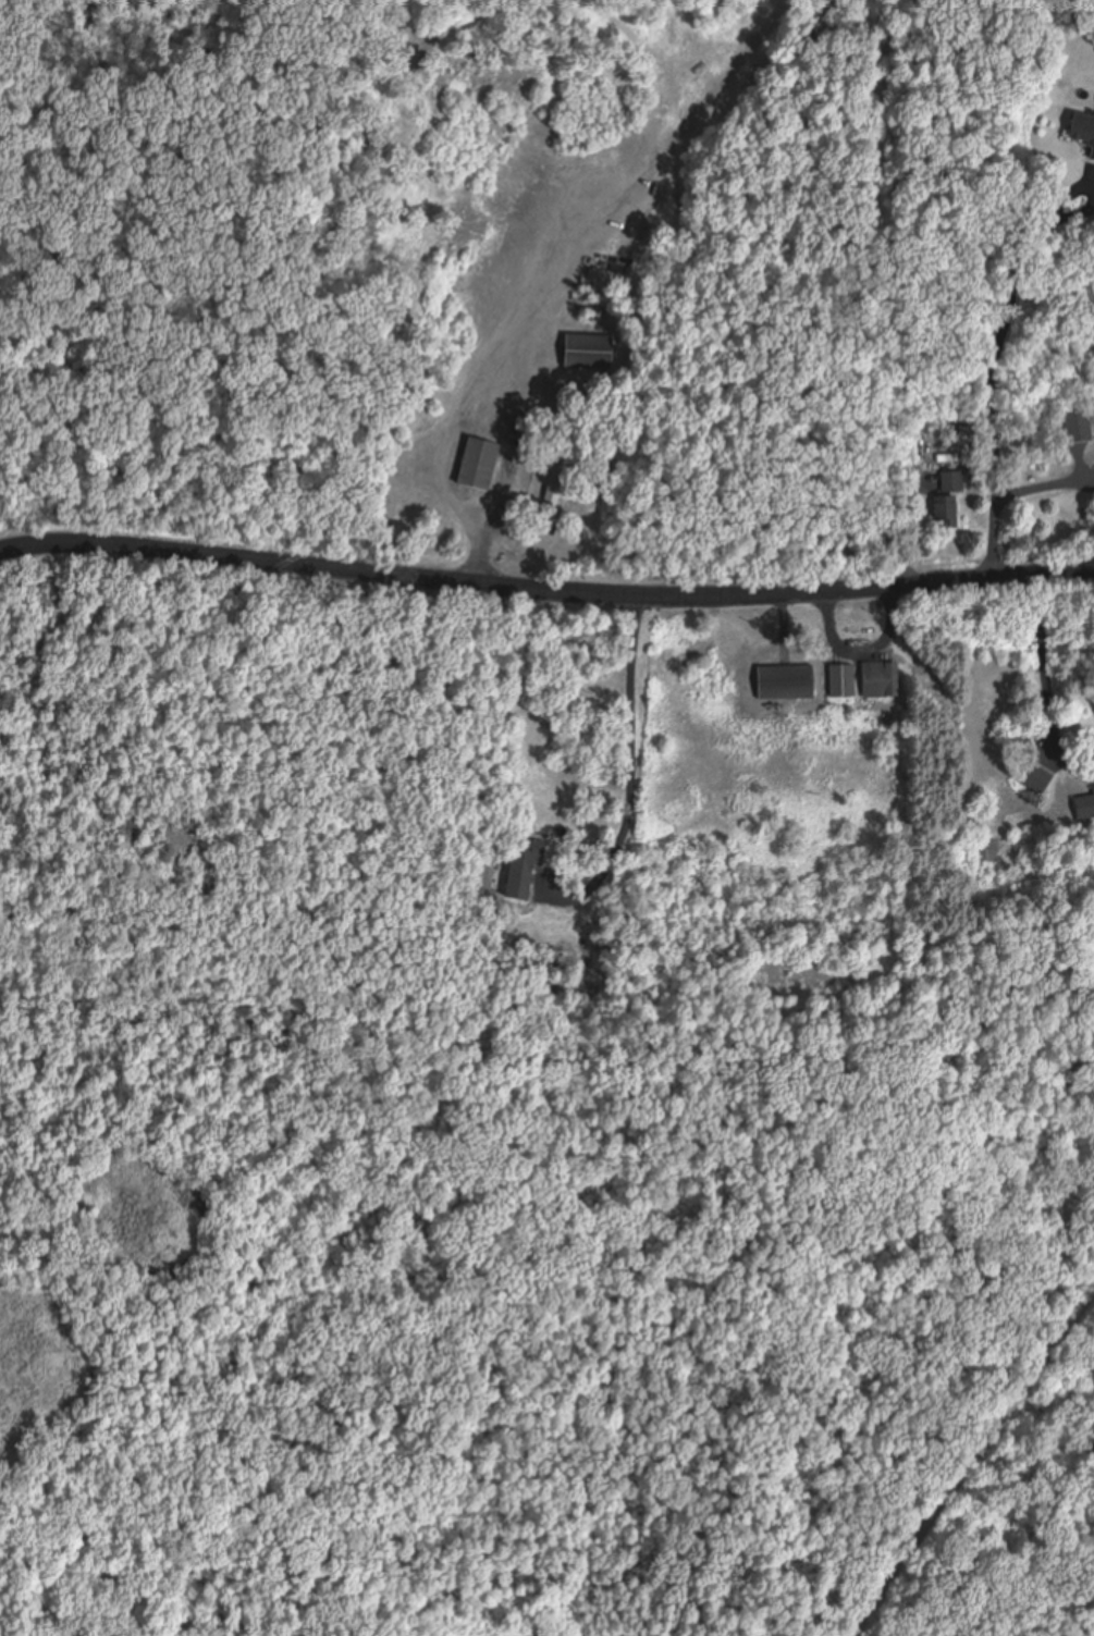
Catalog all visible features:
building: (1080, 134)
building: (618, 161)
building: (569, 190)
road: (274, 272)
building: (590, 353)
building: (1077, 428)
building: (474, 466)
building: (950, 482)
building: (941, 513)
road: (545, 583)
building: (838, 679)
building: (877, 679)
building: (782, 681)
building: (1032, 778)
building: (1083, 808)
building: (985, 851)
building: (521, 866)
road: (255, 868)
road: (123, 1034)
park: (155, 1087)
road: (314, 1228)
road: (971, 1463)
road: (998, 1532)
road: (1042, 1585)

